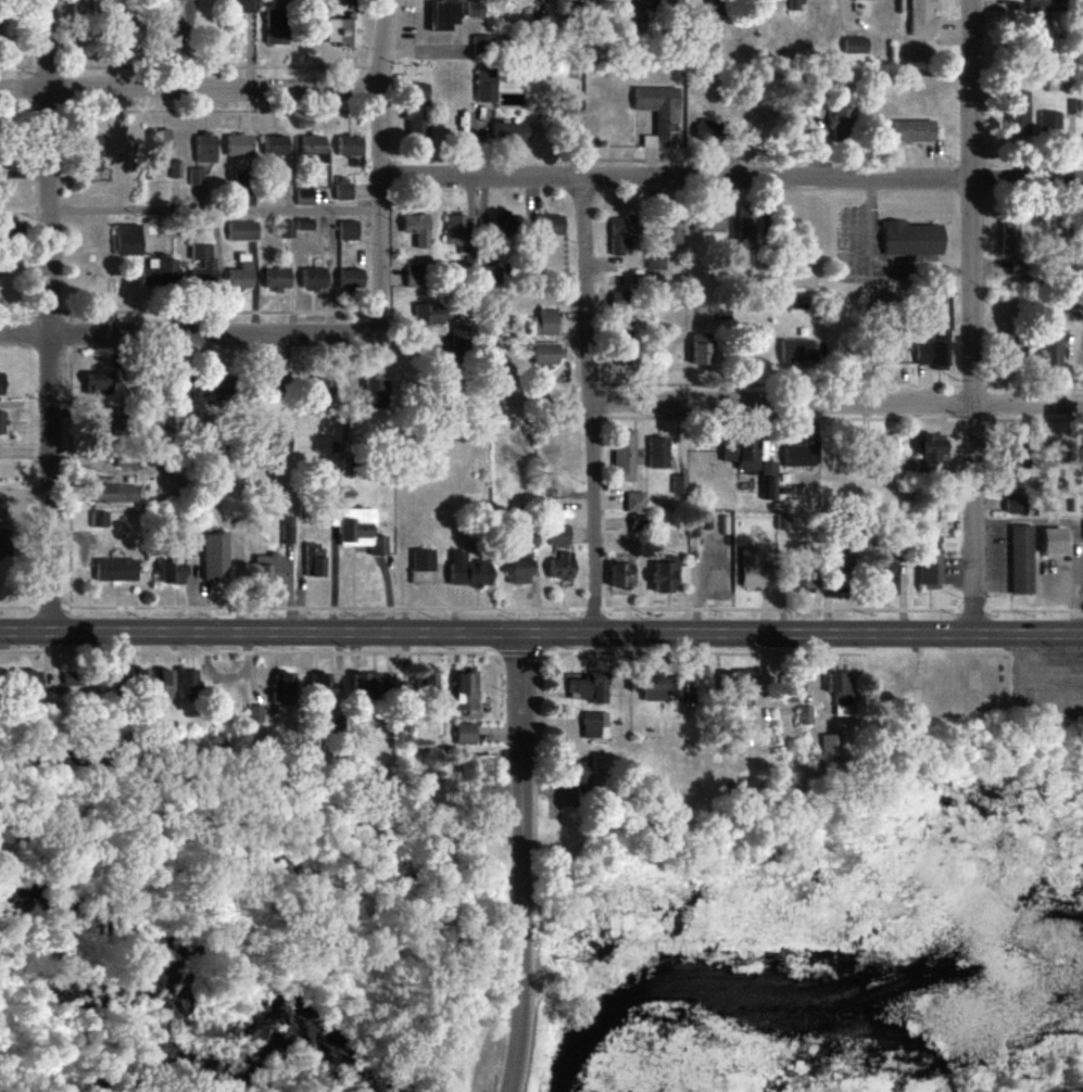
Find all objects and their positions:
building: (546, 2)
building: (244, 5)
building: (476, 10)
building: (1040, 14)
building: (444, 15)
building: (922, 17)
building: (638, 20)
building: (279, 27)
building: (344, 31)
building: (855, 46)
building: (482, 47)
building: (1058, 84)
building: (486, 87)
road: (189, 90)
building: (419, 93)
building: (1019, 114)
building: (659, 115)
building: (417, 122)
building: (1049, 123)
building: (842, 125)
building: (707, 130)
building: (914, 131)
building: (511, 132)
building: (160, 144)
building: (239, 145)
building: (276, 145)
building: (349, 145)
building: (205, 148)
building: (314, 149)
building: (93, 154)
road: (380, 166)
building: (175, 170)
building: (194, 176)
road: (732, 178)
building: (343, 192)
building: (305, 198)
road: (25, 209)
road: (216, 211)
building: (709, 221)
building: (304, 224)
building: (549, 225)
building: (748, 225)
building: (504, 226)
building: (286, 229)
building: (417, 229)
building: (242, 231)
building: (348, 231)
building: (671, 231)
building: (621, 233)
building: (459, 234)
building: (1010, 238)
building: (912, 239)
building: (128, 240)
building: (655, 264)
building: (203, 265)
building: (1019, 267)
building: (416, 274)
building: (162, 275)
building: (493, 275)
building: (241, 276)
building: (277, 279)
building: (314, 279)
building: (351, 279)
building: (621, 301)
road: (51, 313)
building: (431, 315)
road: (972, 315)
building: (543, 323)
road: (189, 334)
building: (458, 339)
building: (1013, 348)
building: (700, 350)
building: (797, 351)
building: (935, 351)
building: (1054, 353)
building: (545, 354)
building: (1, 382)
building: (98, 384)
building: (374, 395)
road: (594, 402)
road: (839, 403)
building: (2, 422)
building: (278, 442)
building: (889, 444)
building: (931, 452)
building: (657, 454)
building: (741, 455)
building: (1061, 455)
building: (624, 456)
building: (799, 456)
building: (768, 481)
building: (678, 485)
building: (115, 494)
building: (1013, 501)
building: (634, 503)
building: (100, 520)
building: (635, 523)
building: (286, 530)
building: (356, 530)
building: (558, 536)
building: (1055, 541)
building: (216, 556)
building: (313, 560)
building: (423, 560)
building: (1021, 560)
building: (561, 568)
building: (116, 570)
building: (269, 570)
building: (754, 570)
building: (468, 572)
building: (519, 572)
building: (173, 573)
building: (930, 573)
building: (665, 575)
building: (620, 576)
building: (887, 580)
building: (805, 583)
road: (541, 610)
road: (541, 628)
road: (261, 657)
road: (694, 658)
parking lot: (1046, 669)
building: (136, 676)
road: (1046, 677)
building: (74, 680)
building: (27, 683)
building: (736, 683)
building: (430, 684)
building: (165, 685)
building: (369, 685)
building: (189, 686)
building: (322, 686)
building: (589, 688)
building: (282, 689)
building: (654, 689)
building: (467, 693)
building: (839, 693)
road: (1009, 704)
building: (254, 714)
building: (803, 716)
building: (594, 725)
building: (465, 734)
building: (829, 745)
building: (484, 772)
building: (577, 772)
road: (521, 860)
park: (1042, 1070)
road: (507, 1091)

